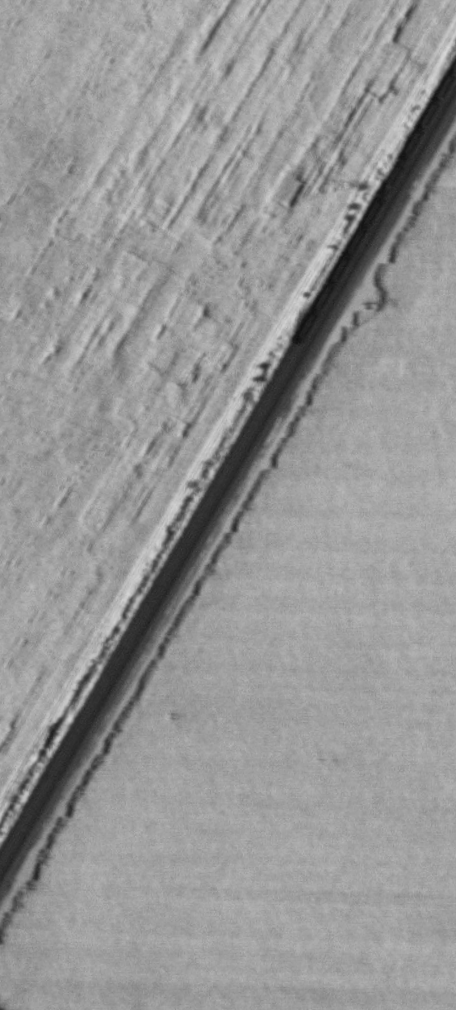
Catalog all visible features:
railway: (228, 461)
railway: (228, 479)

